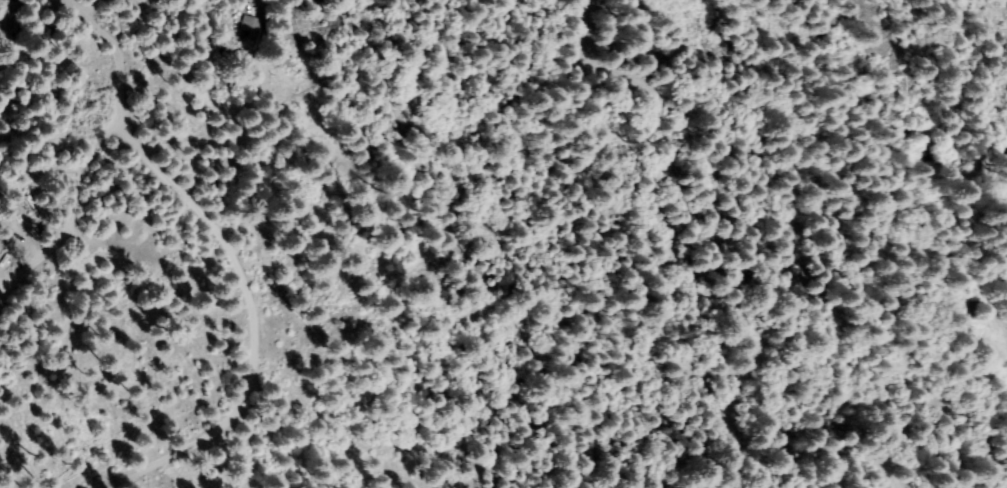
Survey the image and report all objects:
building: (6, 21)
building: (249, 27)
road: (799, 185)
building: (1004, 278)
road: (707, 306)
road: (1000, 423)

